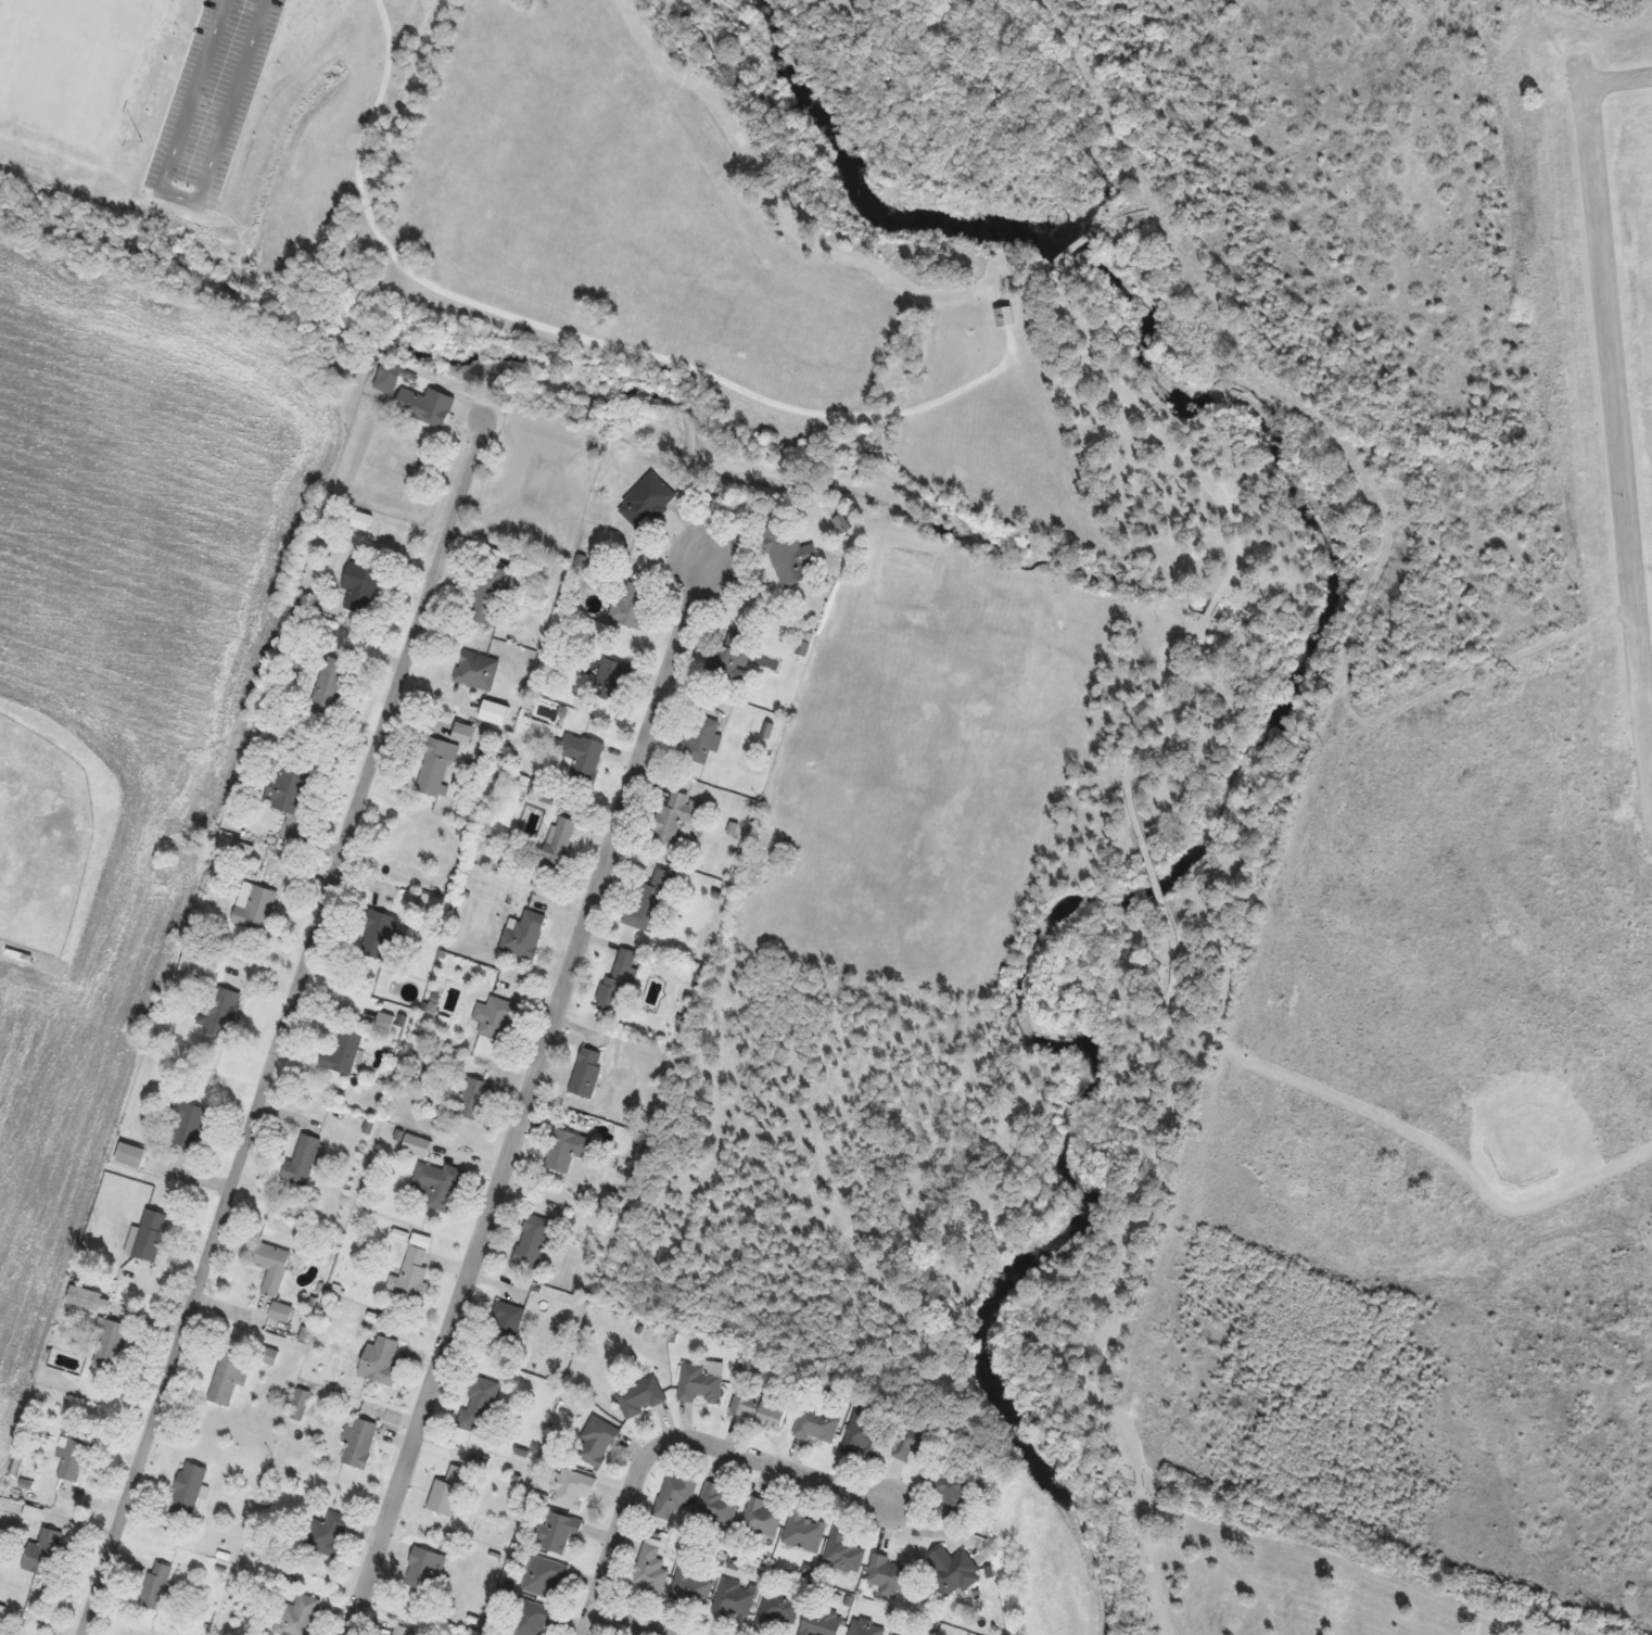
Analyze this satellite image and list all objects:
road: (1617, 81)
dam: (1097, 237)
road: (960, 296)
building: (1005, 317)
road: (559, 331)
building: (389, 378)
building: (422, 406)
road: (1616, 422)
building: (647, 503)
building: (361, 521)
building: (789, 557)
building: (360, 588)
building: (488, 596)
building: (631, 607)
road: (1212, 608)
building: (730, 659)
building: (476, 672)
building: (612, 681)
building: (330, 687)
building: (463, 734)
building: (702, 743)
road: (1142, 743)
road: (1651, 757)
building: (582, 759)
building: (435, 769)
building: (289, 790)
building: (676, 817)
building: (559, 845)
road: (1158, 888)
building: (648, 904)
building: (255, 908)
building: (379, 934)
building: (524, 936)
building: (618, 985)
building: (223, 1013)
building: (497, 1018)
building: (384, 1024)
road: (278, 1028)
building: (345, 1051)
building: (587, 1073)
road: (525, 1094)
building: (476, 1100)
building: (188, 1125)
road: (1415, 1136)
building: (418, 1146)
building: (567, 1150)
building: (131, 1156)
building: (306, 1161)
building: (440, 1187)
road: (1142, 1196)
building: (612, 1201)
building: (152, 1235)
building: (533, 1241)
building: (272, 1268)
building: (412, 1276)
building: (86, 1298)
building: (282, 1313)
building: (506, 1323)
building: (112, 1345)
building: (268, 1356)
building: (380, 1362)
building: (229, 1380)
building: (700, 1385)
building: (641, 1397)
building: (479, 1405)
building: (301, 1406)
building: (759, 1409)
building: (816, 1427)
building: (866, 1434)
building: (597, 1443)
road: (677, 1443)
building: (359, 1444)
building: (915, 1445)
building: (76, 1457)
road: (1140, 1479)
building: (188, 1491)
building: (573, 1491)
building: (448, 1493)
building: (954, 1495)
building: (675, 1497)
building: (719, 1505)
building: (762, 1519)
building: (559, 1533)
building: (804, 1533)
building: (327, 1535)
building: (843, 1552)
building: (46, 1554)
road: (1149, 1560)
building: (424, 1570)
building: (650, 1572)
building: (953, 1572)
building: (888, 1576)
building: (547, 1579)
building: (156, 1587)
building: (691, 1588)
building: (735, 1601)
building: (777, 1612)
building: (298, 1617)
building: (532, 1619)
building: (822, 1622)
road: (619, 1624)
building: (866, 1628)
building: (402, 1631)

